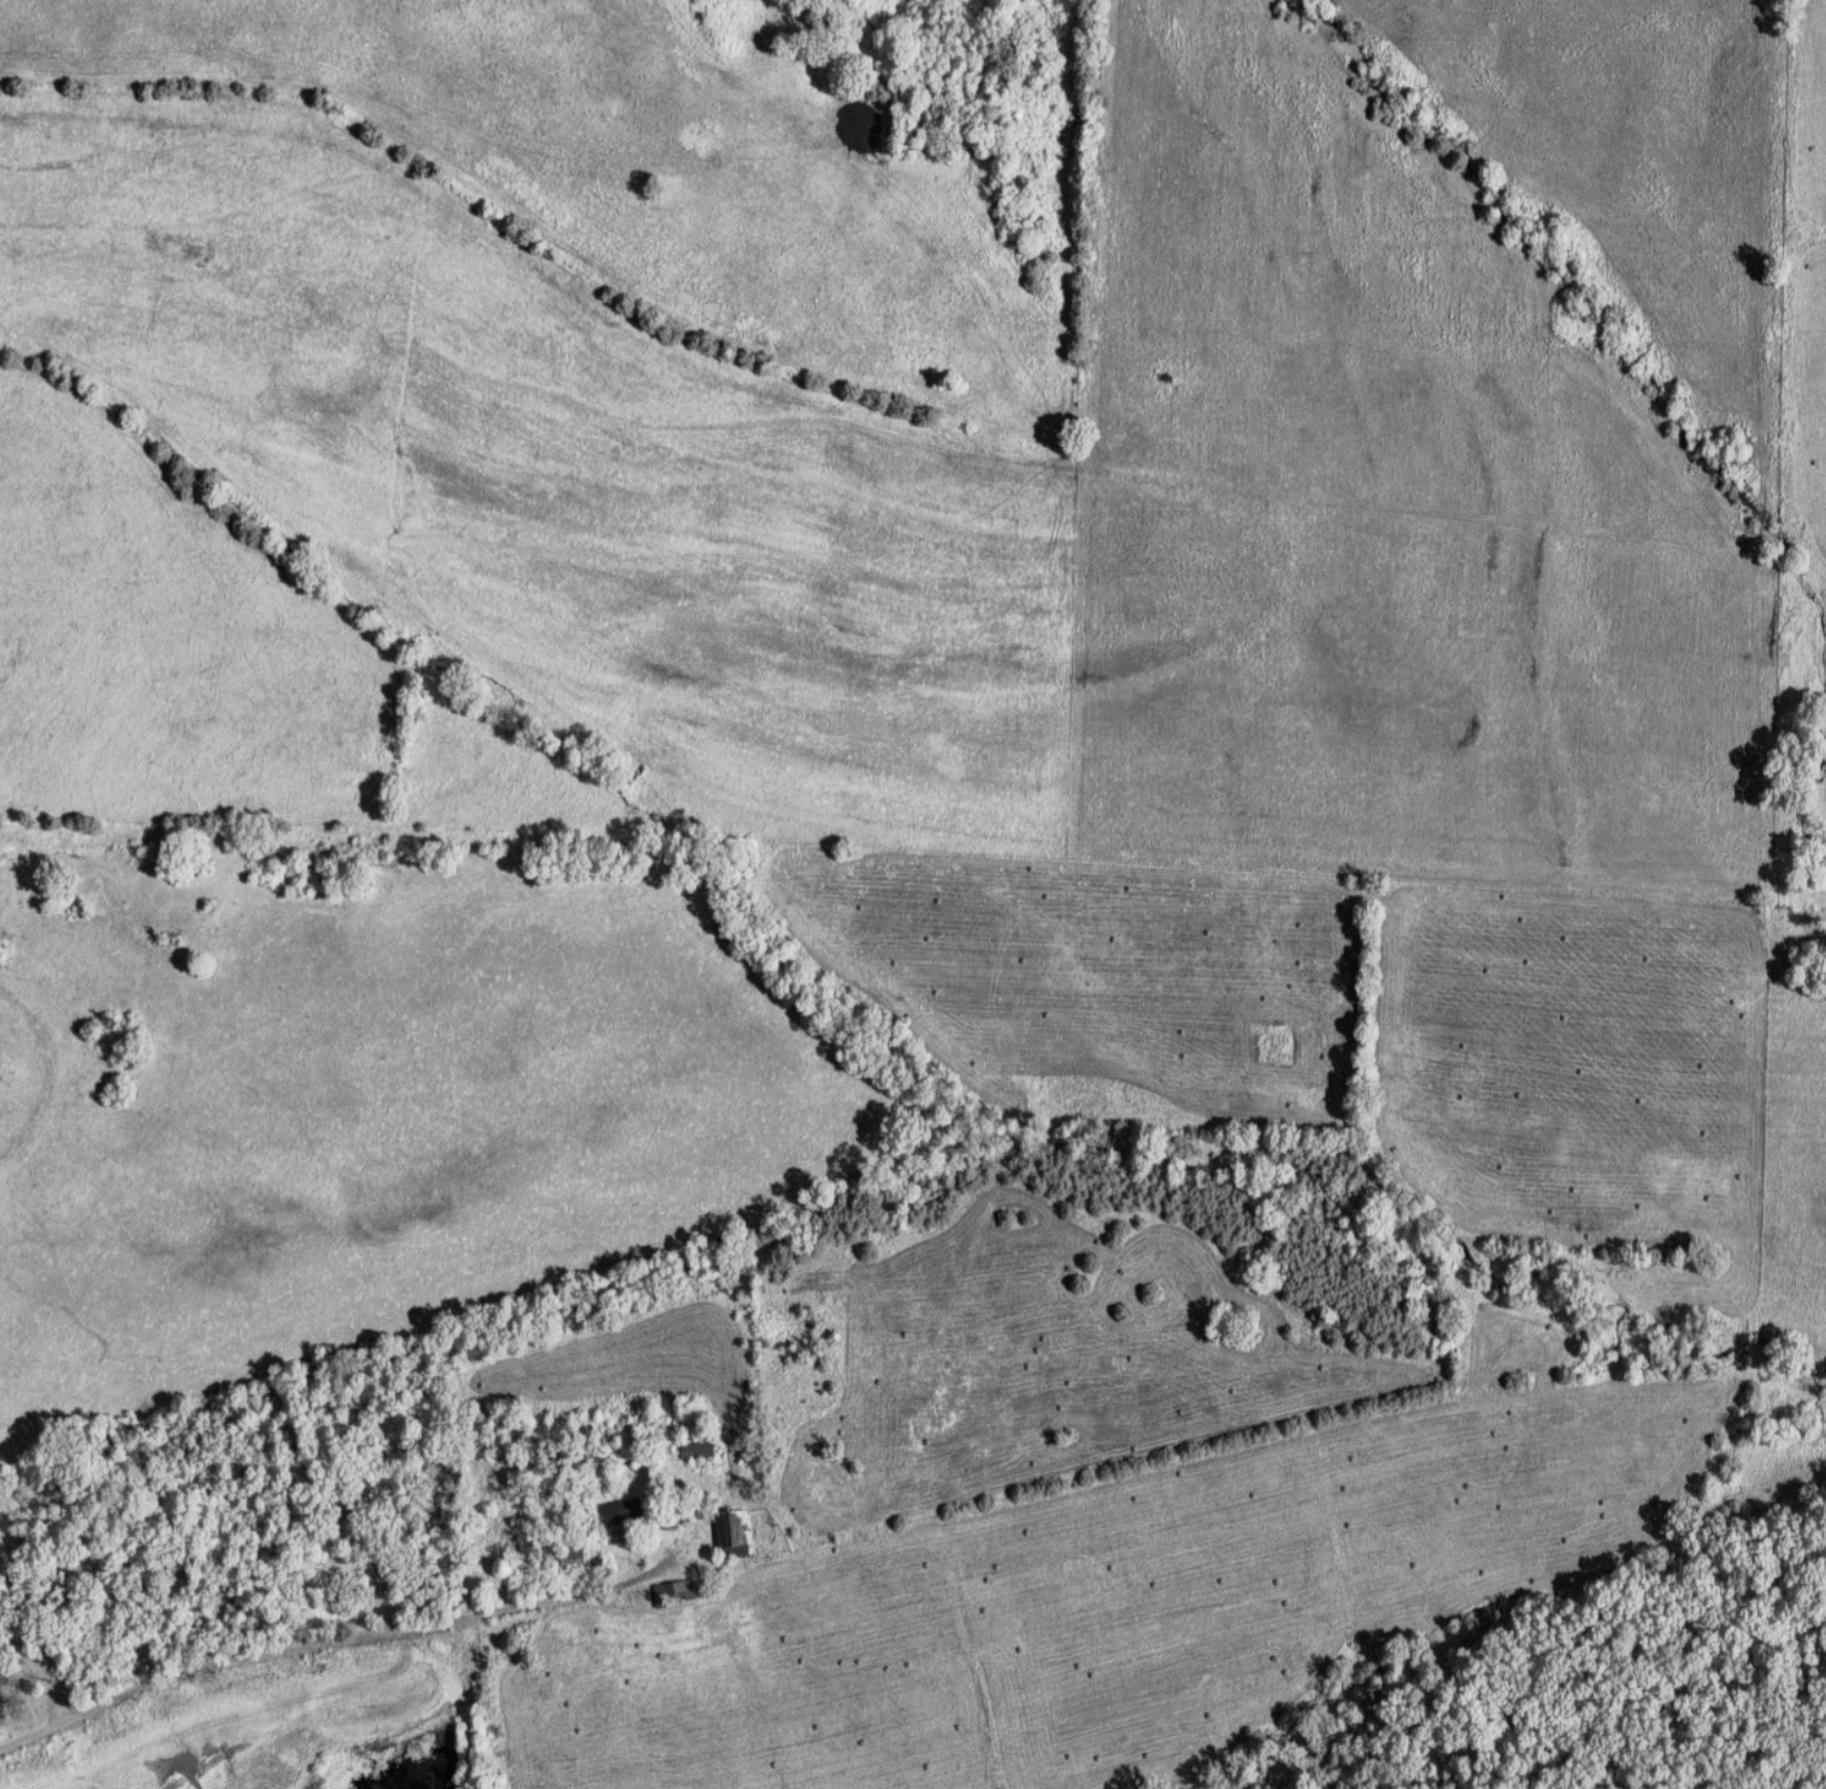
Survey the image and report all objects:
building: (701, 1448)
building: (628, 1512)
building: (736, 1536)
building: (573, 1554)
building: (677, 1593)
road: (308, 1643)
park: (8, 1707)

